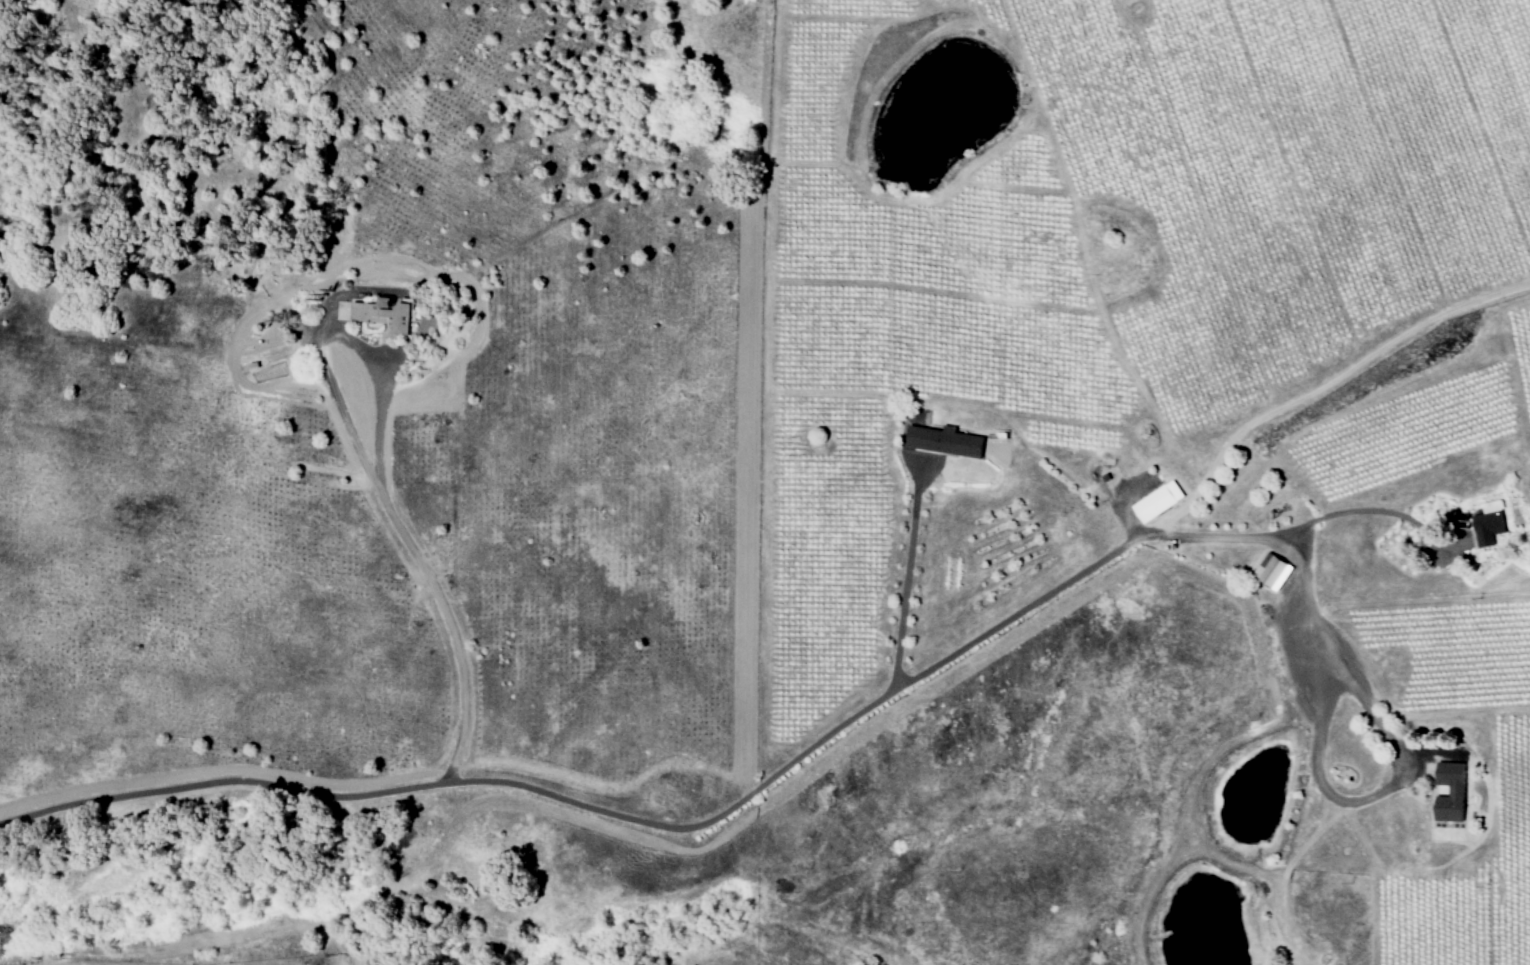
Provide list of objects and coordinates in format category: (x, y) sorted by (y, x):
building: (386, 314)
building: (948, 441)
road: (377, 466)
building: (1159, 502)
road: (1358, 511)
building: (1490, 523)
building: (1274, 571)
road: (906, 575)
road: (774, 774)
building: (1452, 792)

